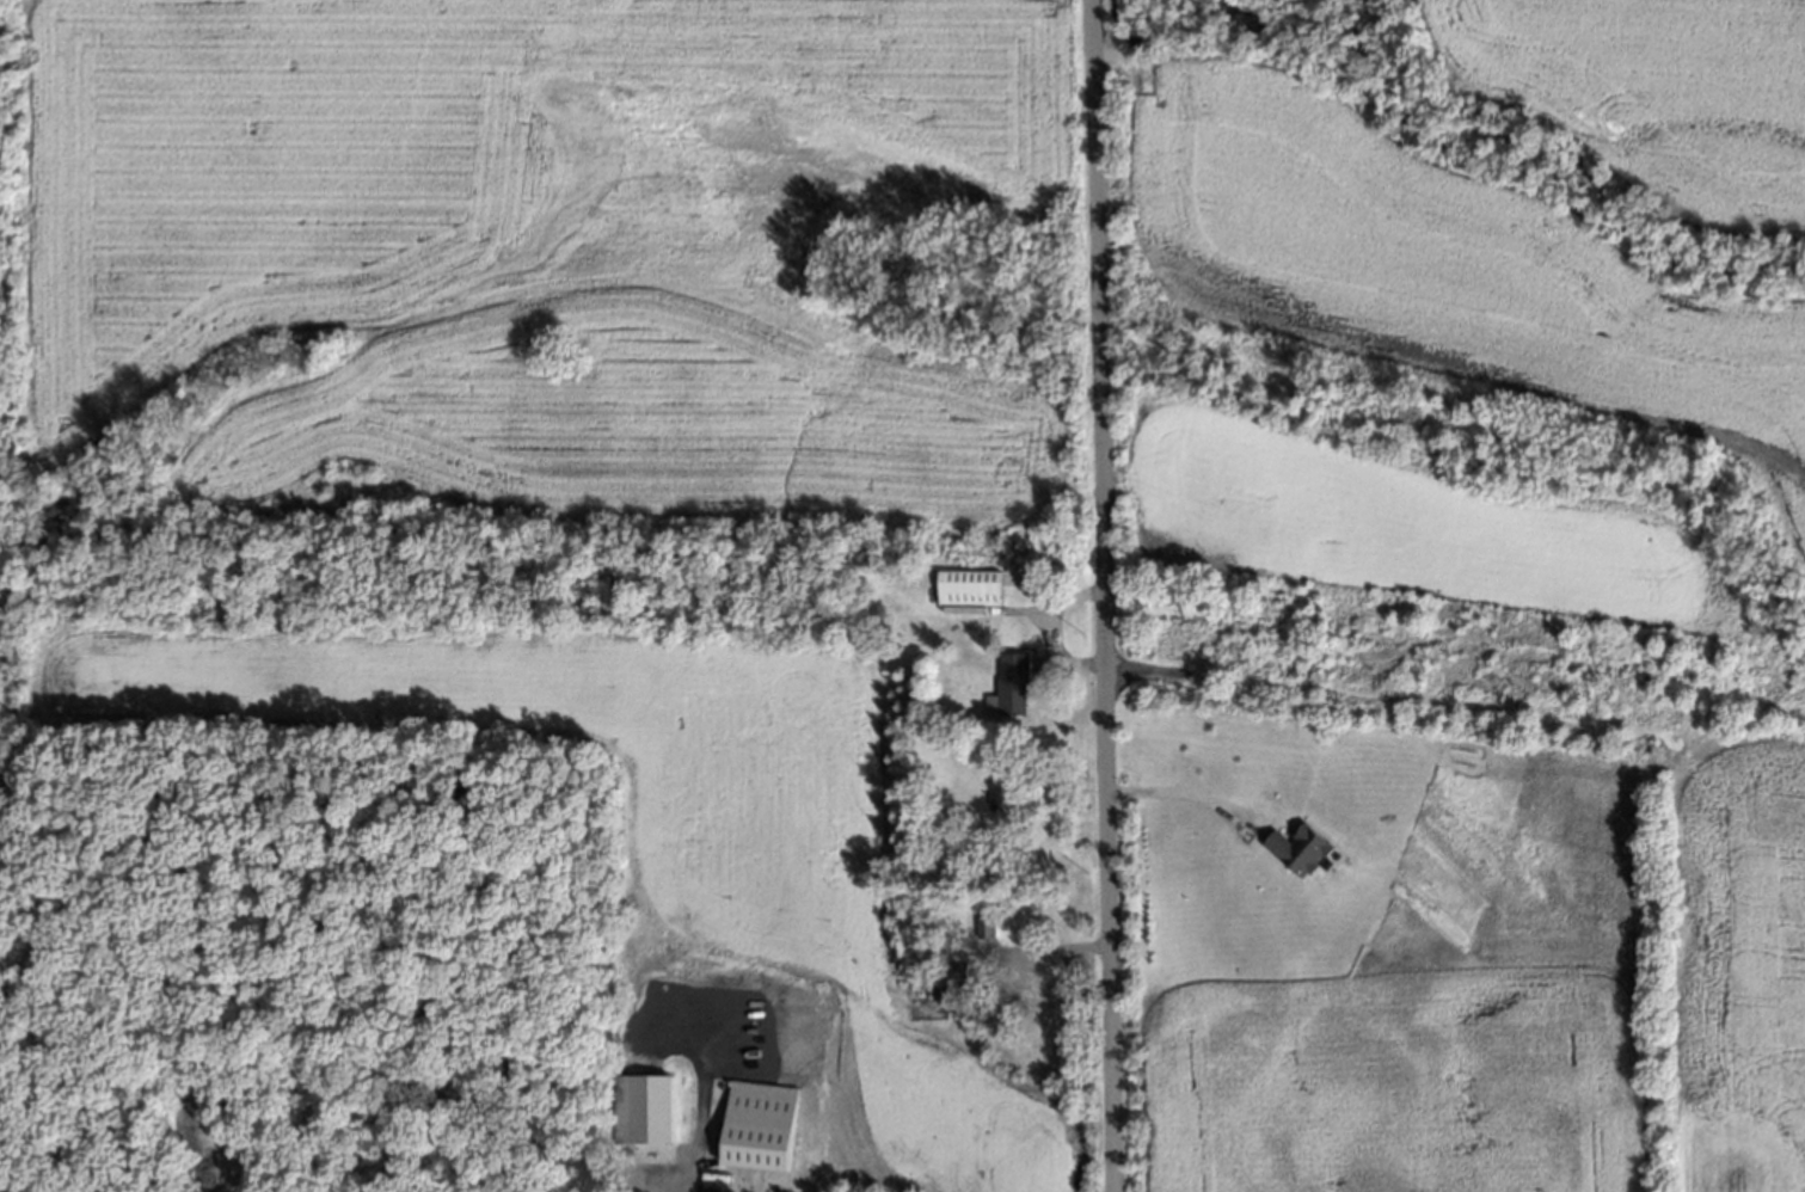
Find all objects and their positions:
river: (1186, 18)
river: (1537, 150)
building: (969, 589)
road: (1098, 595)
building: (1012, 686)
road: (1180, 792)
building: (1302, 852)
building: (984, 928)
building: (1033, 970)
building: (948, 971)
building: (640, 1102)
building: (761, 1125)
road: (690, 1138)

